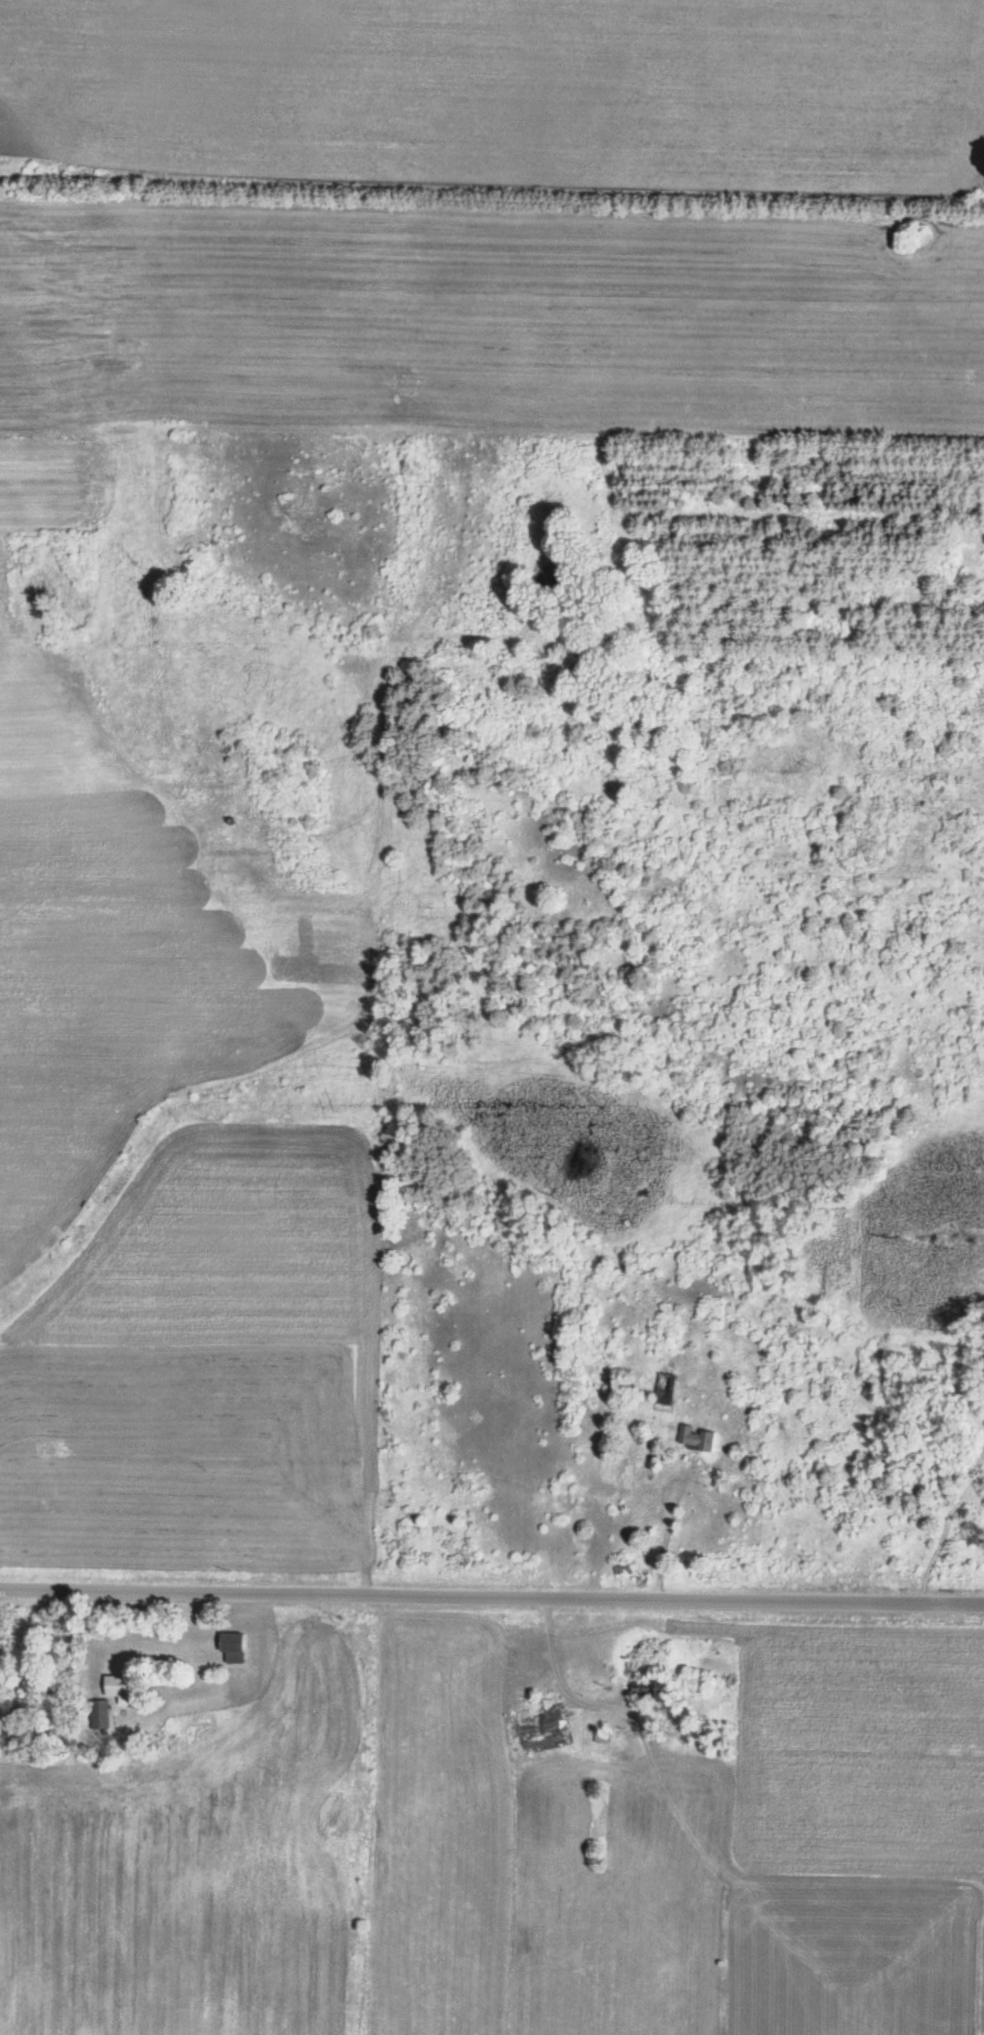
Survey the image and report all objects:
building: (664, 1390)
building: (695, 1439)
road: (492, 1595)
building: (231, 1647)
building: (655, 1686)
building: (99, 1714)
building: (541, 1722)

